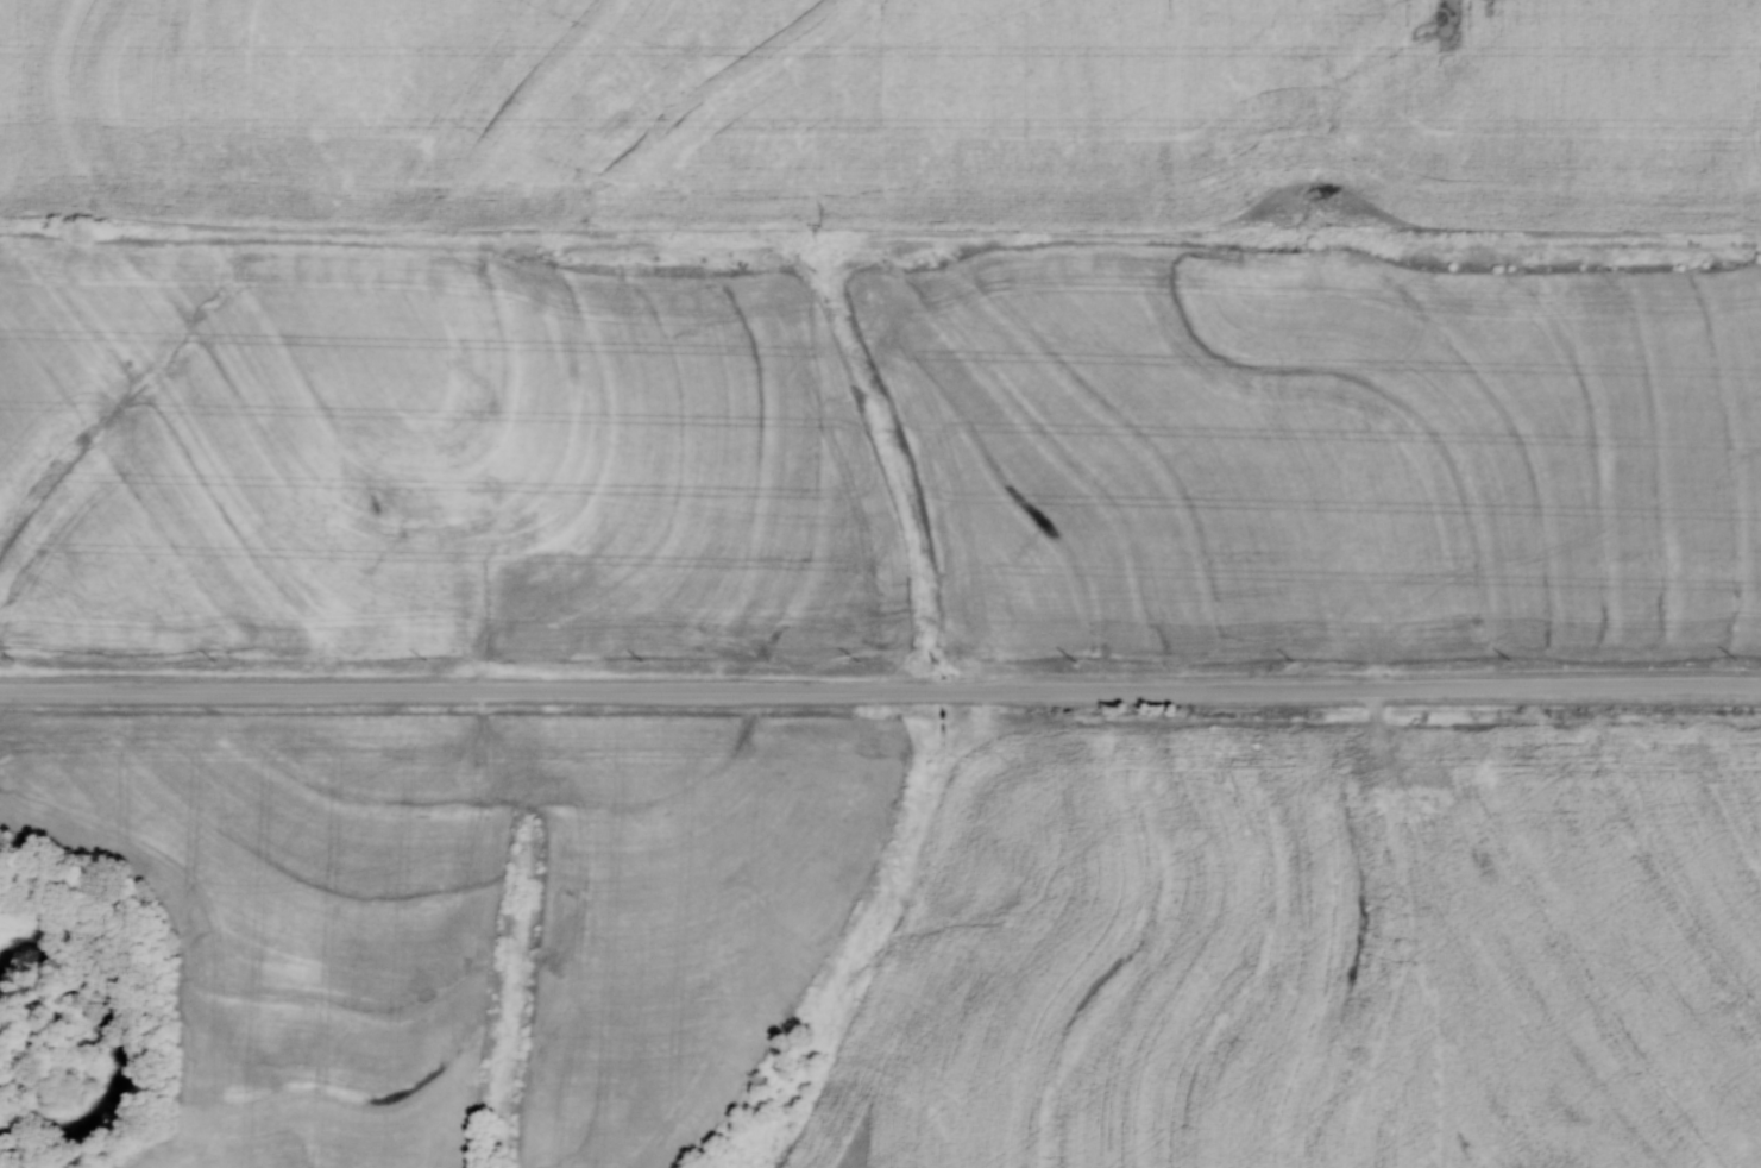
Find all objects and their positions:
road: (880, 695)

